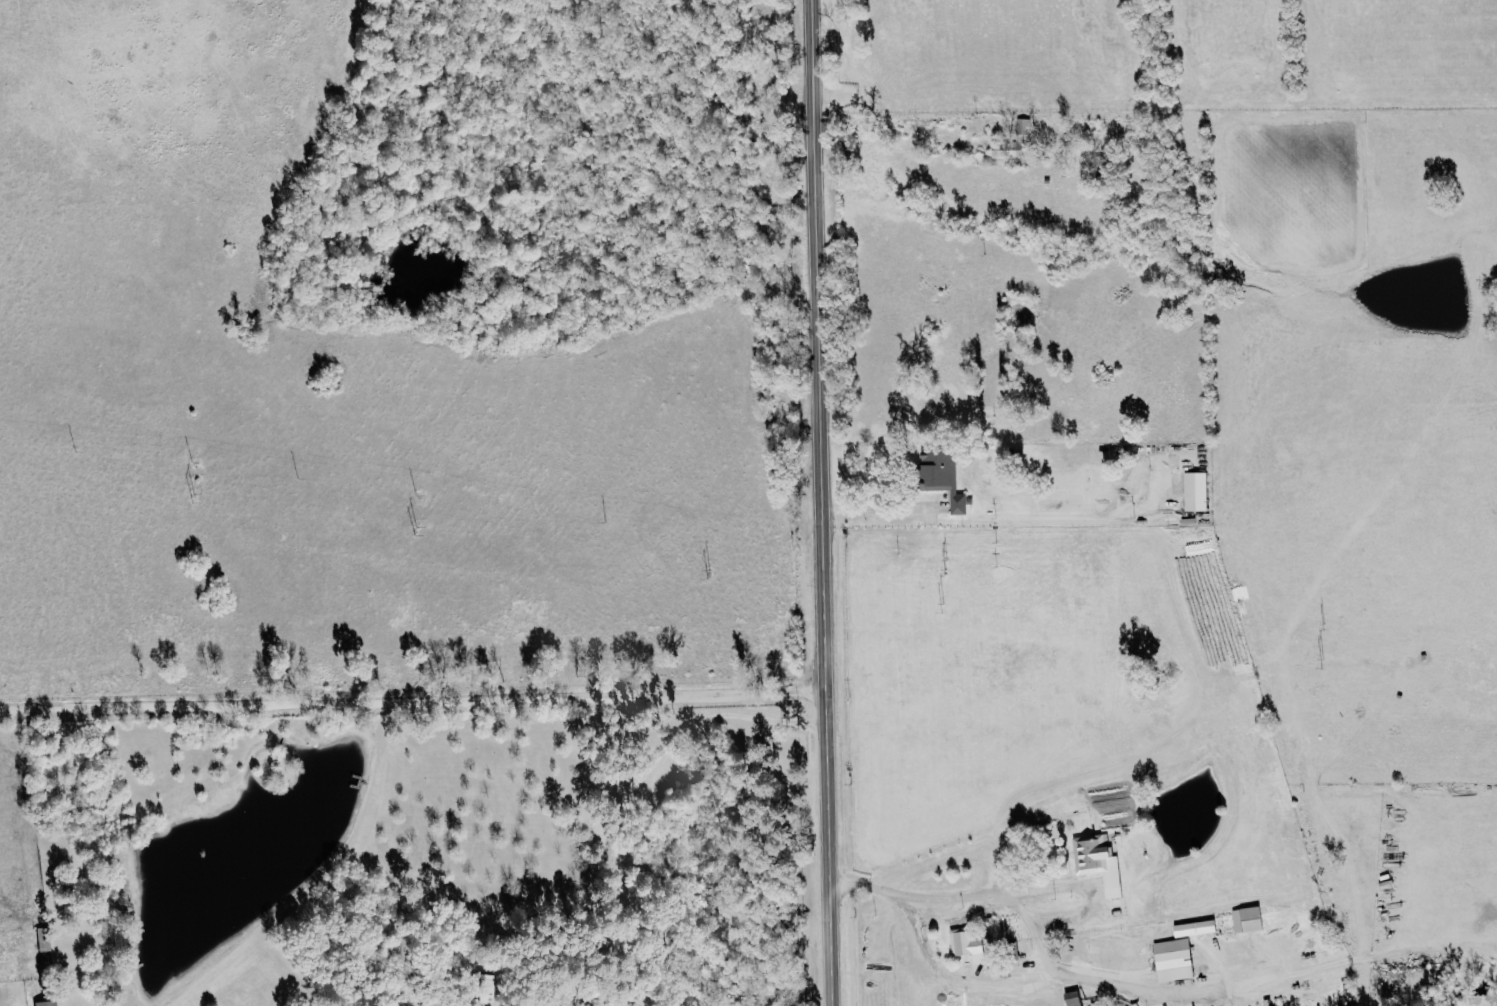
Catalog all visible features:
building: (1016, 143)
building: (946, 475)
building: (1199, 490)
power tower: (192, 495)
road: (819, 502)
road: (881, 506)
power tower: (416, 530)
power tower: (708, 576)
power tower: (944, 599)
power tower: (1320, 659)
road: (411, 698)
building: (1103, 864)
road: (1085, 885)
road: (968, 892)
building: (1250, 919)
building: (1199, 928)
building: (968, 942)
building: (1177, 959)
building: (1077, 998)
building: (48, 1003)

